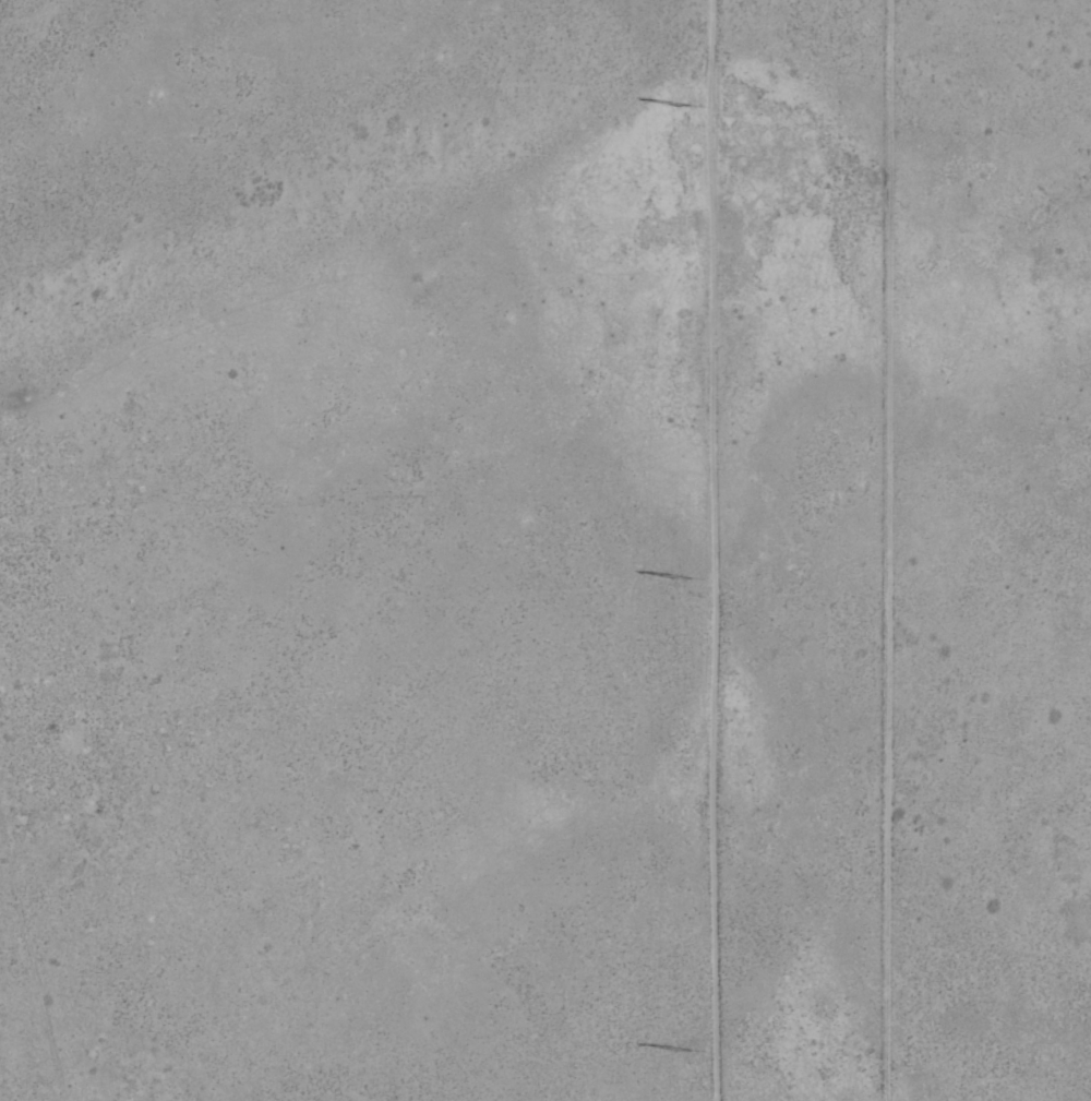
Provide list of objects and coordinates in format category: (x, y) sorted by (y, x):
power tower: (688, 106)
power tower: (692, 576)
power tower: (685, 1048)

